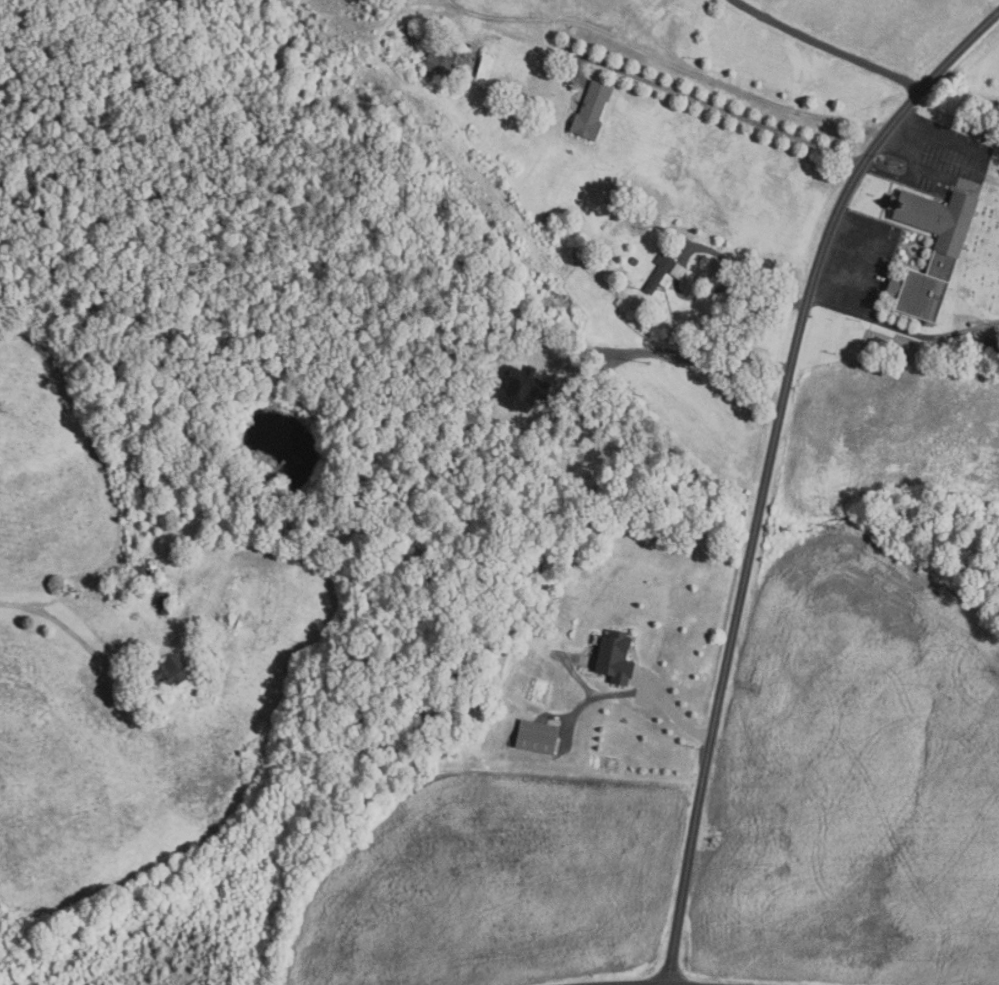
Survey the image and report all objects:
road: (826, 45)
building: (442, 59)
road: (666, 63)
building: (484, 71)
road: (709, 104)
building: (591, 110)
power tower: (438, 126)
road: (894, 153)
road: (890, 174)
road: (978, 176)
road: (989, 177)
building: (946, 251)
building: (634, 261)
park: (979, 265)
parking lot: (858, 267)
building: (659, 271)
building: (677, 271)
road: (740, 272)
building: (610, 281)
road: (902, 328)
building: (990, 345)
road: (686, 359)
power tower: (648, 363)
road: (768, 469)
power tower: (836, 530)
building: (146, 572)
building: (106, 597)
building: (163, 603)
road: (63, 626)
building: (614, 656)
power tower: (994, 668)
building: (169, 671)
road: (674, 713)
building: (536, 736)

